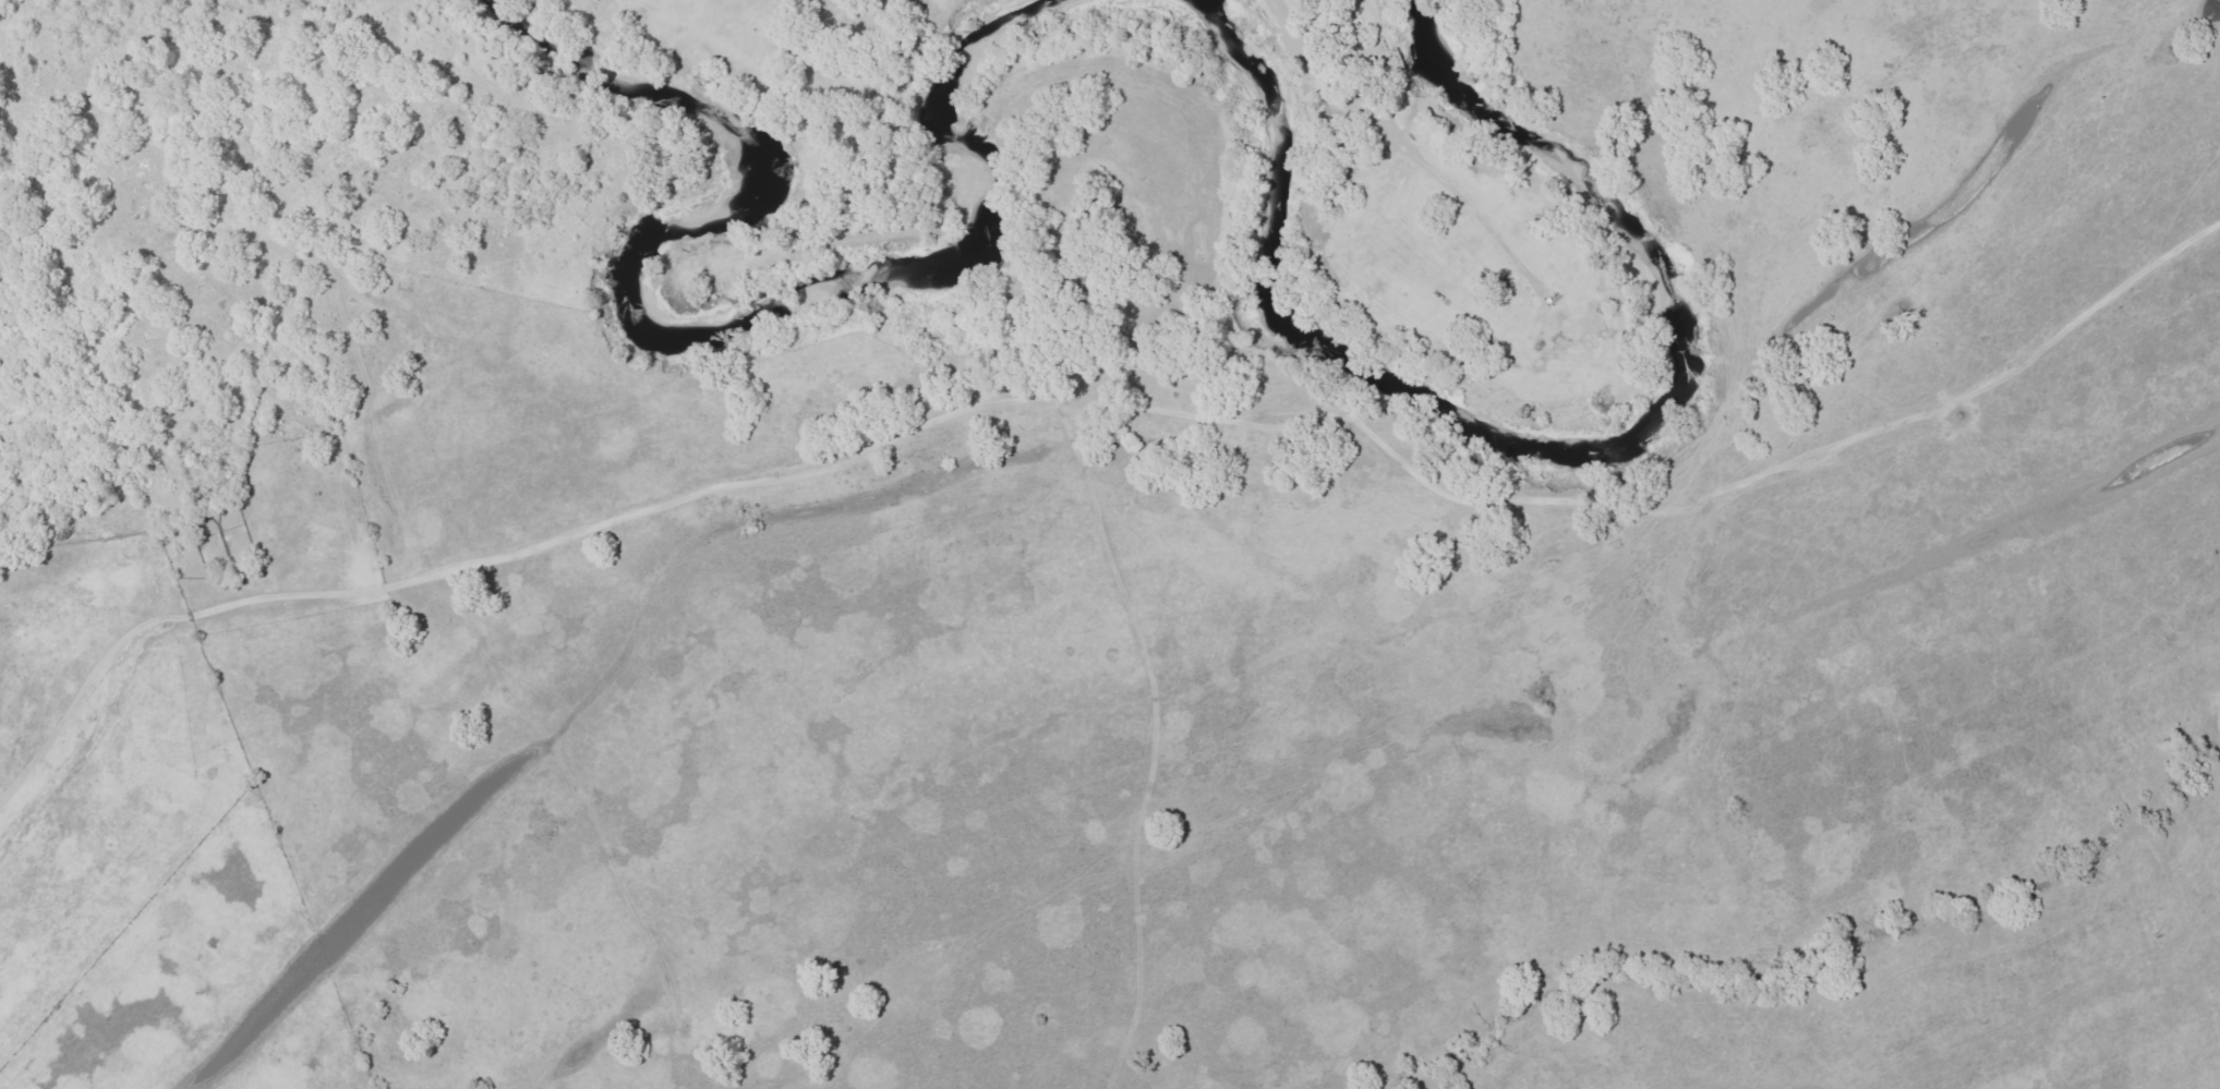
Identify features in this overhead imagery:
road: (1287, 36)
river: (729, 319)
river: (1548, 443)

